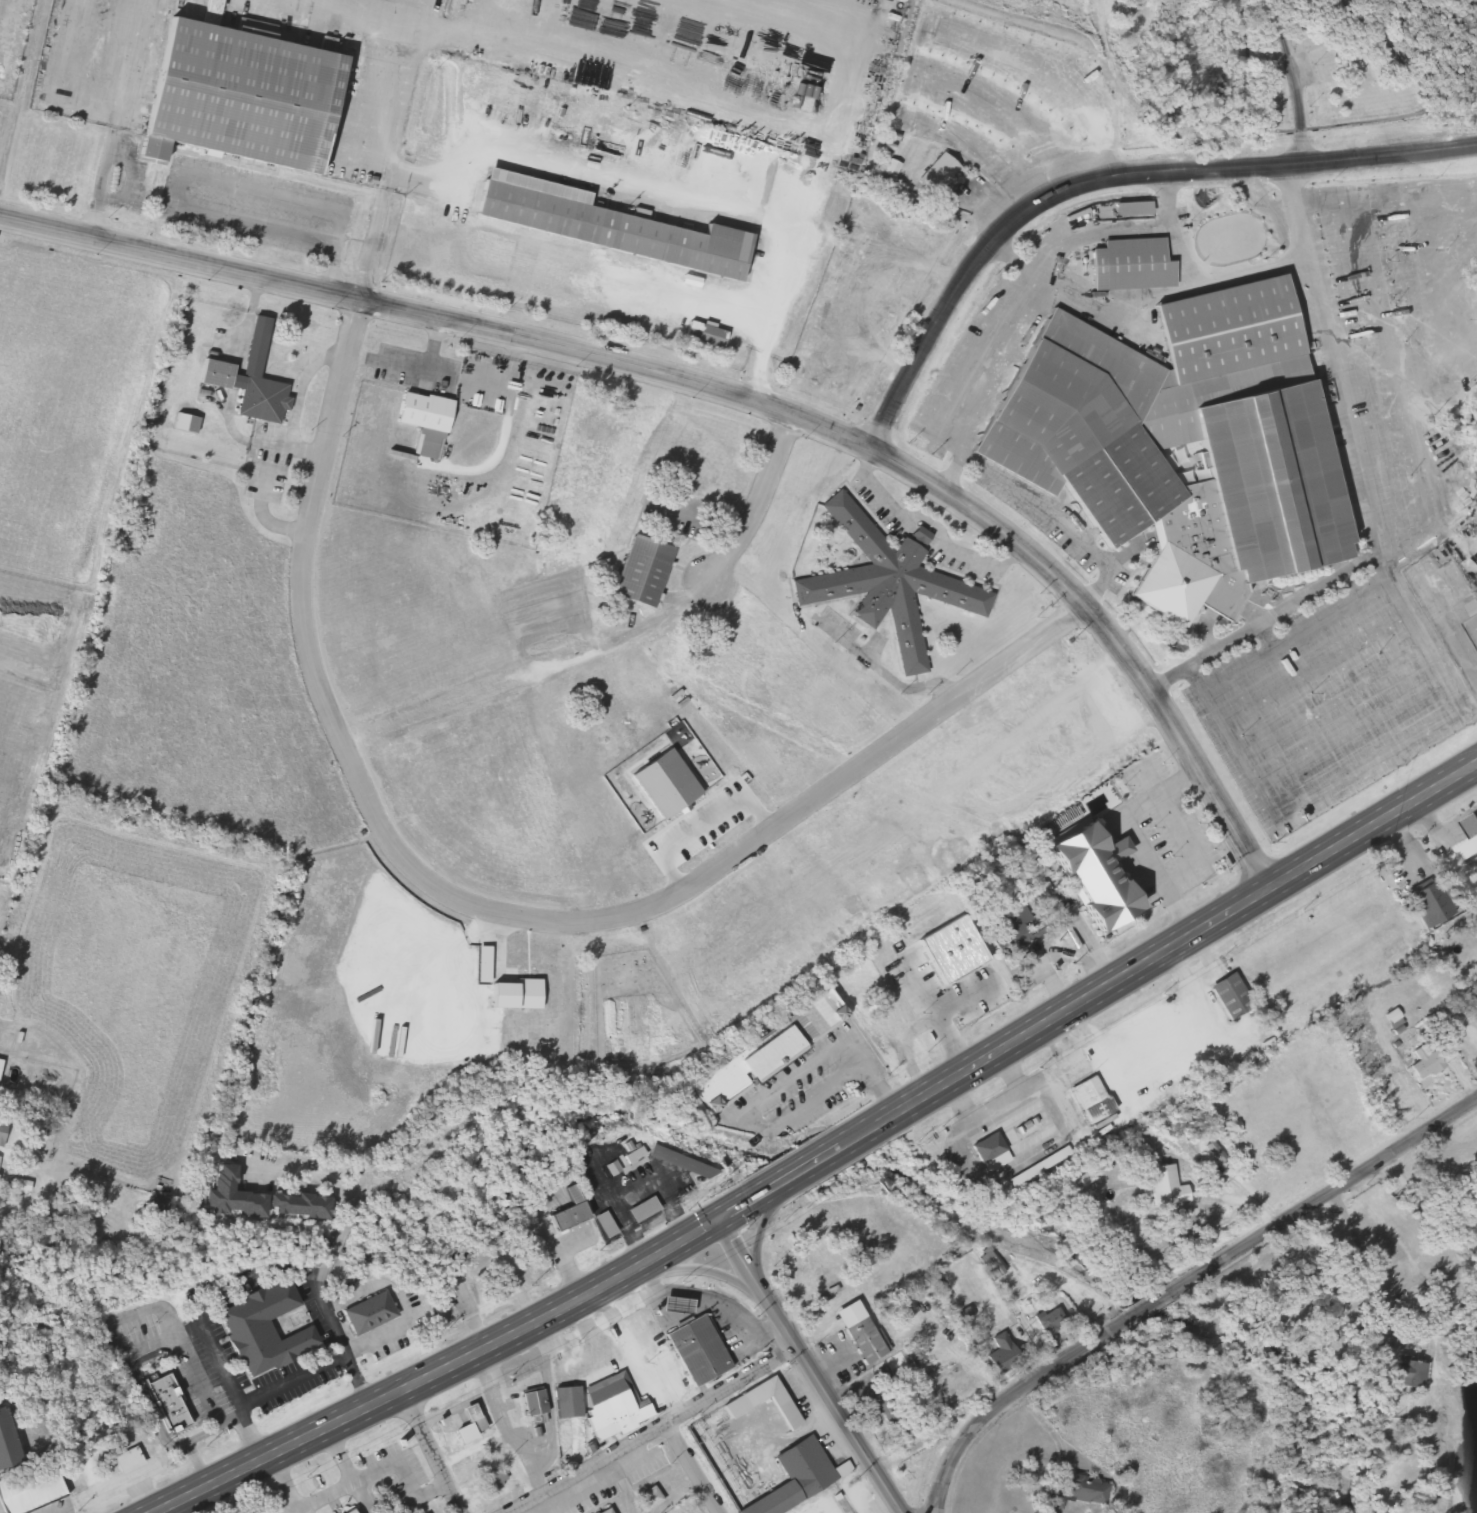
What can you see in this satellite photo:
park: (1280, 72)
road: (1294, 81)
building: (233, 99)
road: (117, 119)
road: (1345, 125)
road: (389, 150)
building: (934, 176)
road: (1101, 179)
road: (1383, 182)
road: (657, 191)
building: (1129, 210)
building: (597, 226)
road: (236, 227)
building: (1126, 266)
road: (1440, 362)
building: (246, 380)
road: (730, 399)
building: (420, 412)
building: (1175, 444)
road: (1385, 445)
road: (1428, 479)
road: (1369, 491)
building: (637, 572)
building: (885, 583)
building: (1433, 621)
road: (1294, 624)
building: (1471, 624)
road: (614, 639)
road: (1314, 658)
road: (1333, 693)
parking lot: (1327, 696)
road: (1350, 723)
road: (1369, 760)
road: (1132, 837)
building: (1456, 842)
building: (1086, 876)
building: (1429, 905)
road: (489, 913)
building: (882, 947)
building: (916, 991)
road: (1097, 992)
building: (1228, 995)
road: (950, 1039)
building: (765, 1052)
road: (829, 1057)
building: (1430, 1059)
building: (1089, 1099)
building: (1, 1129)
building: (1010, 1136)
road: (633, 1186)
building: (1163, 1186)
road: (1323, 1191)
road: (340, 1193)
building: (253, 1200)
building: (564, 1211)
road: (766, 1216)
road: (570, 1271)
road: (693, 1275)
road: (267, 1277)
road: (1150, 1303)
building: (365, 1313)
building: (1048, 1321)
building: (259, 1329)
building: (854, 1333)
building: (694, 1351)
building: (998, 1354)
road: (808, 1367)
road: (440, 1372)
road: (1010, 1397)
building: (166, 1404)
building: (599, 1406)
building: (532, 1407)
building: (758, 1409)
road: (214, 1428)
road: (656, 1432)
road: (425, 1454)
building: (3, 1455)
road: (339, 1455)
building: (118, 1462)
building: (801, 1468)
road: (373, 1469)
building: (840, 1469)
road: (690, 1470)
building: (489, 1480)
road: (284, 1482)
building: (27, 1488)
building: (1083, 1490)
building: (647, 1498)
building: (604, 1511)
building: (342, 1512)

